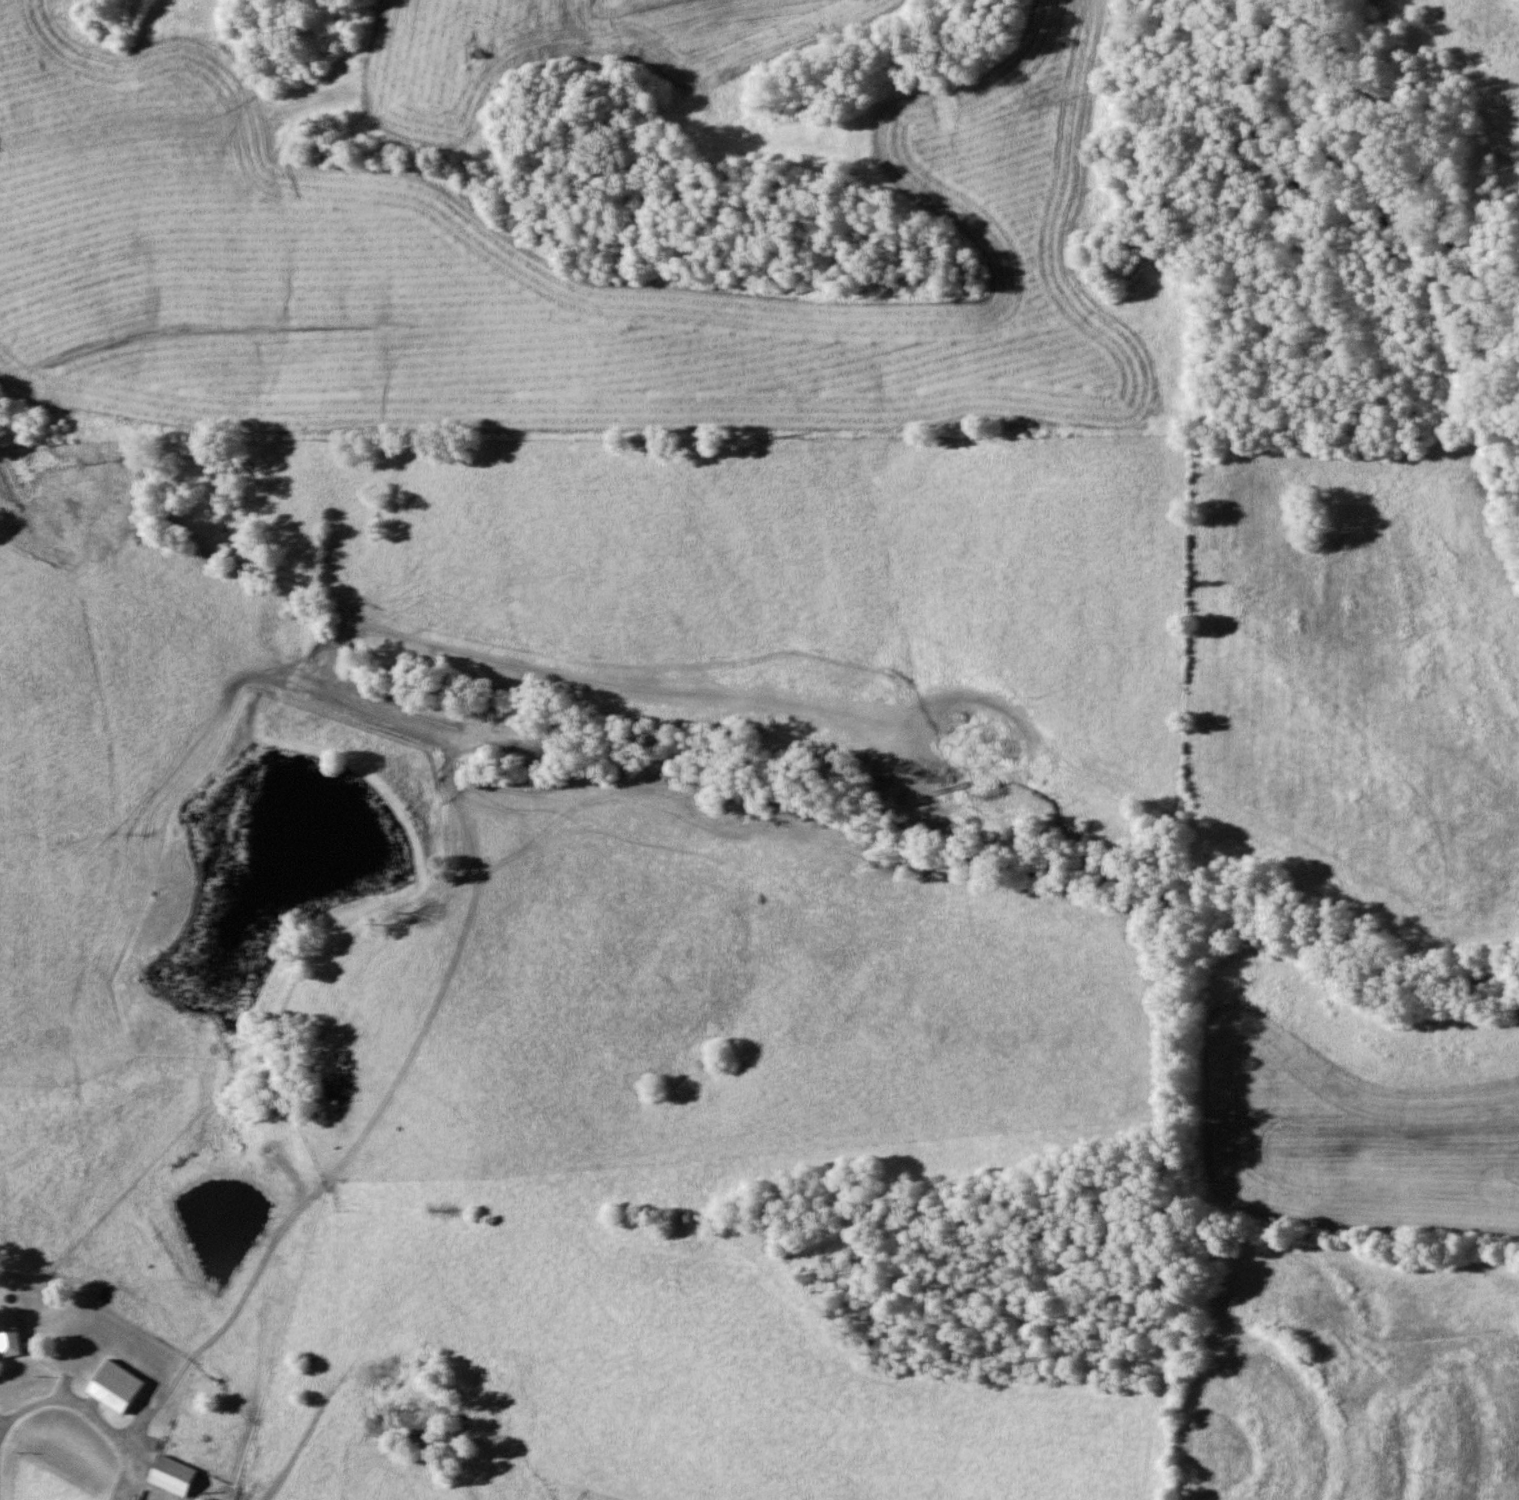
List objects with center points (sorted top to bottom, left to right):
building: (17, 1333)
building: (124, 1386)
road: (8, 1424)
building: (174, 1476)

